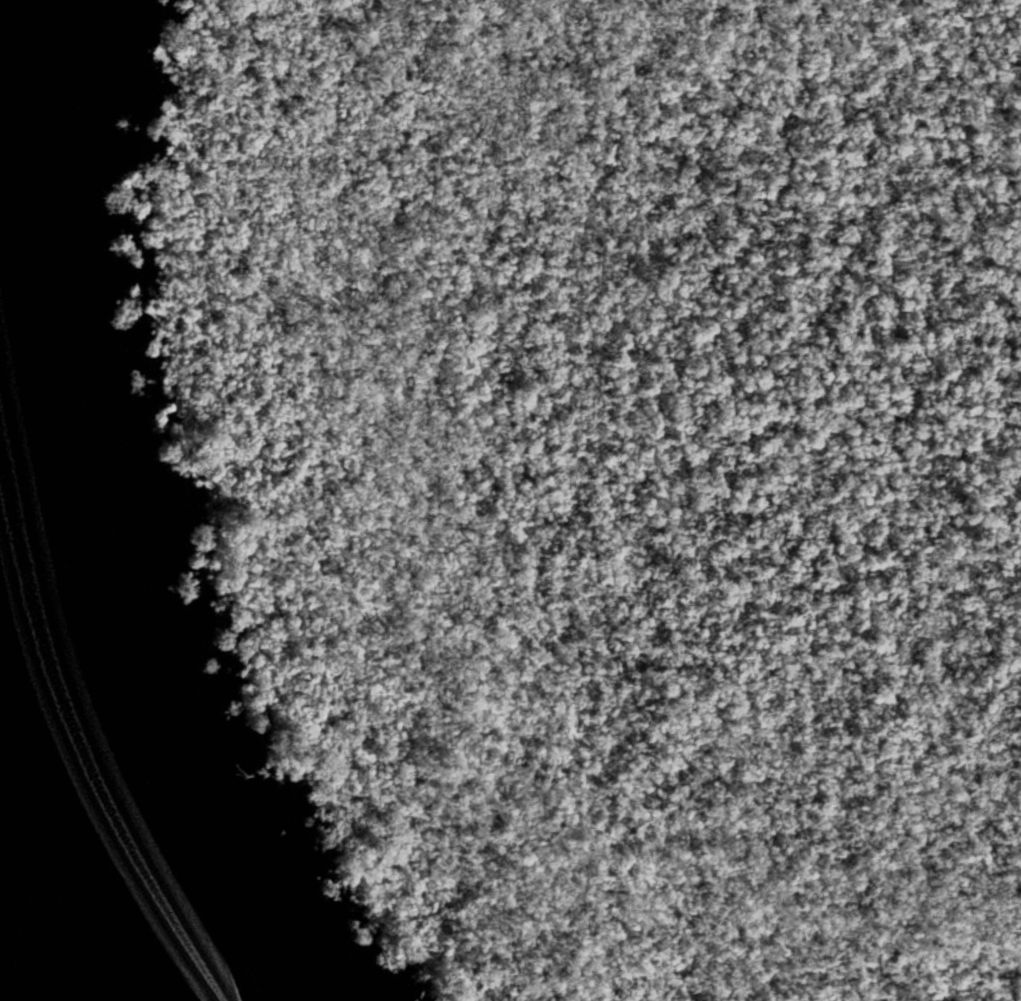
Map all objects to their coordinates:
river: (72, 795)

